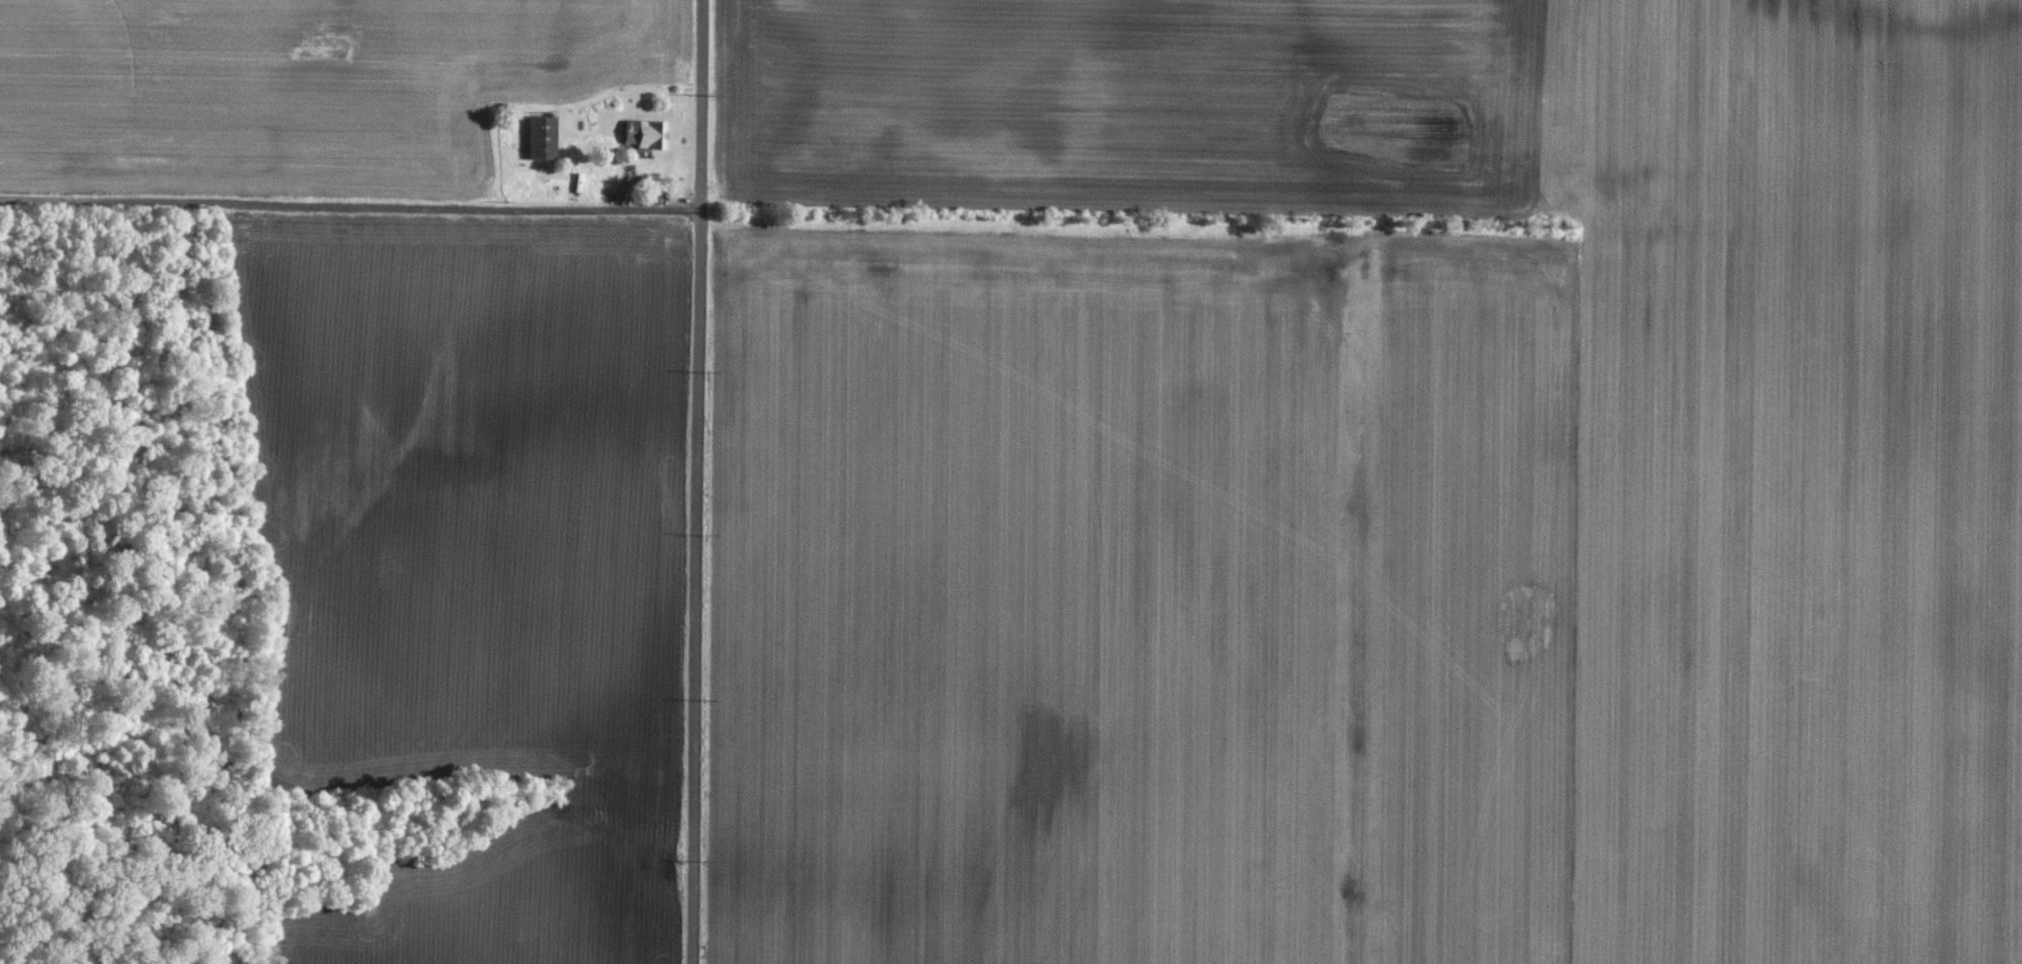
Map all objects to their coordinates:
building: (537, 135)
road: (346, 213)
road: (689, 481)

